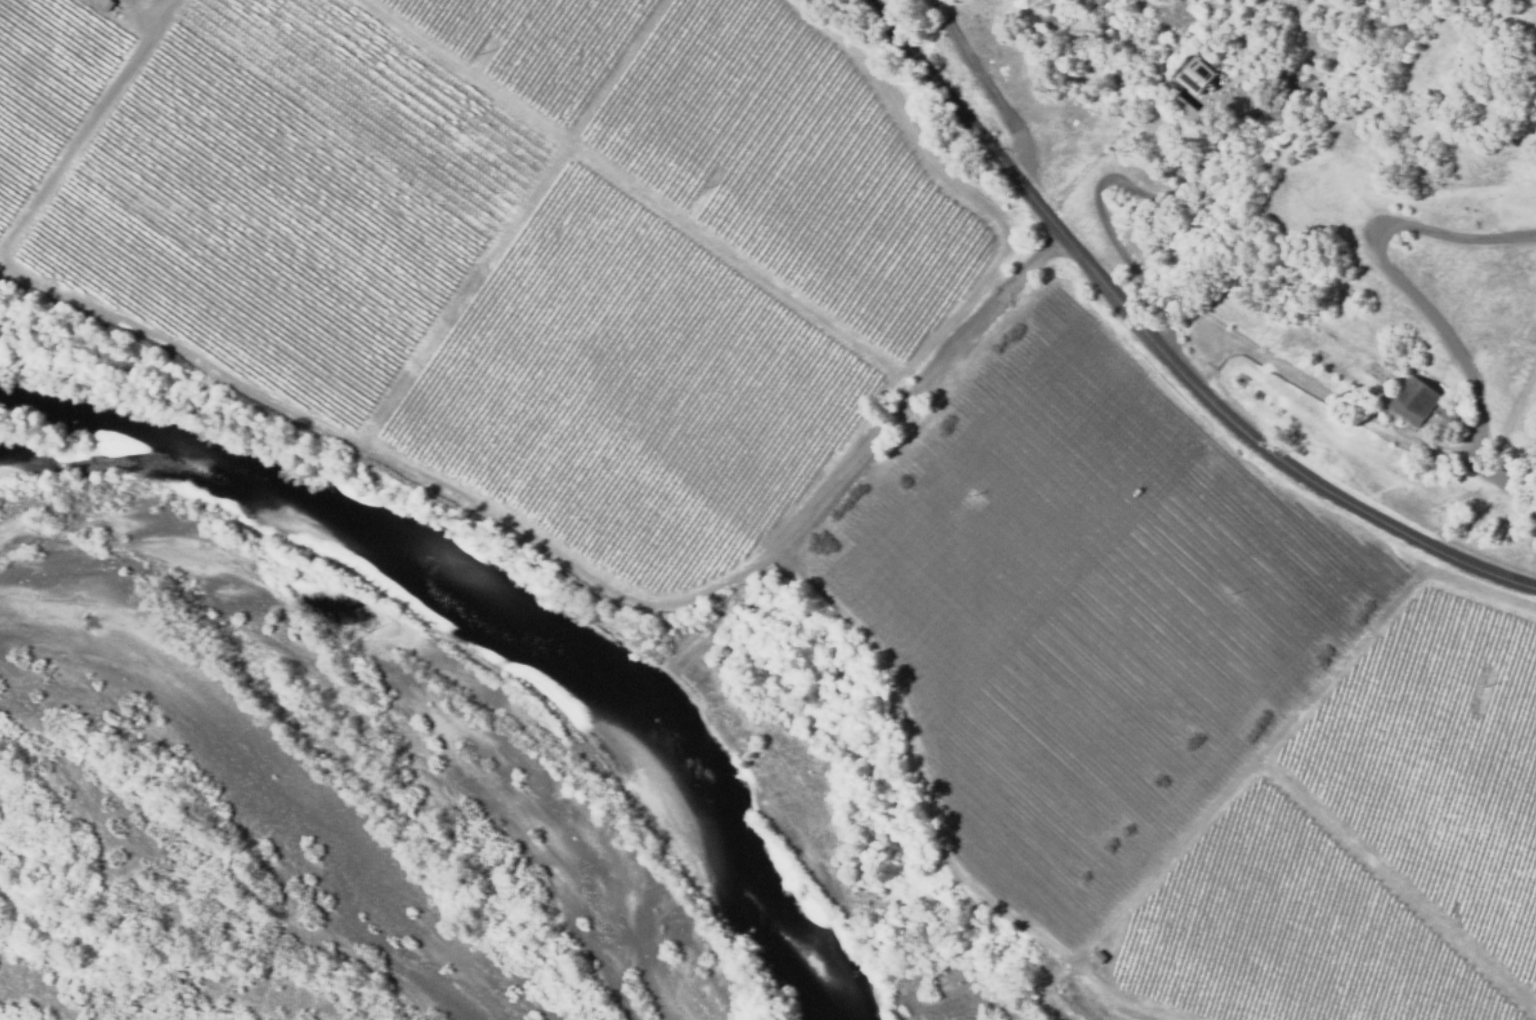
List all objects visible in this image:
building: (107, 6)
building: (1198, 74)
building: (1308, 96)
road: (1120, 181)
road: (1420, 298)
road: (1165, 346)
building: (1409, 391)
river: (426, 607)
building: (688, 702)
building: (733, 762)
building: (1096, 955)

